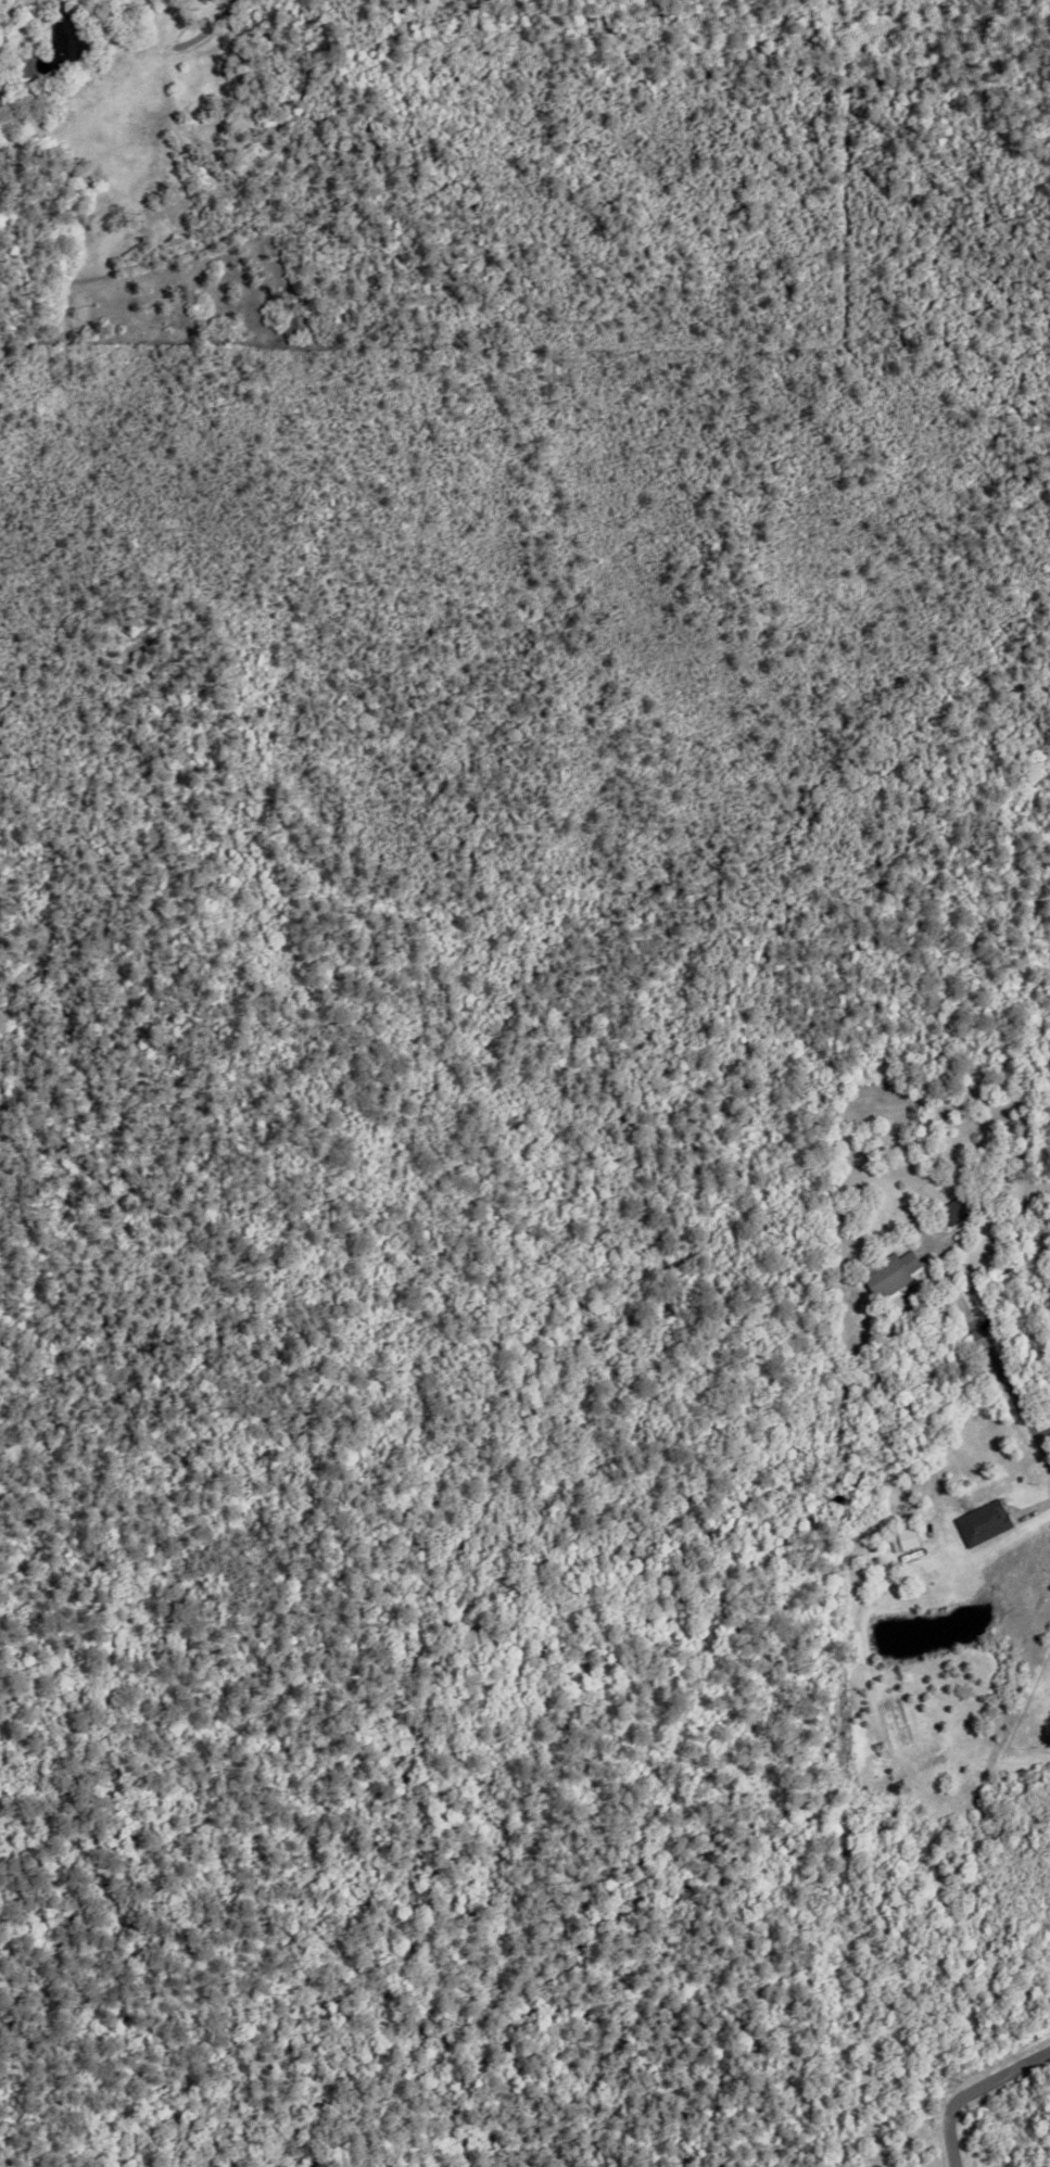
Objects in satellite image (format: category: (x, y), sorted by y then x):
building: (65, 38)
road: (175, 42)
building: (958, 1206)
building: (889, 1271)
road: (1005, 1385)
building: (987, 1522)
road: (970, 2086)

